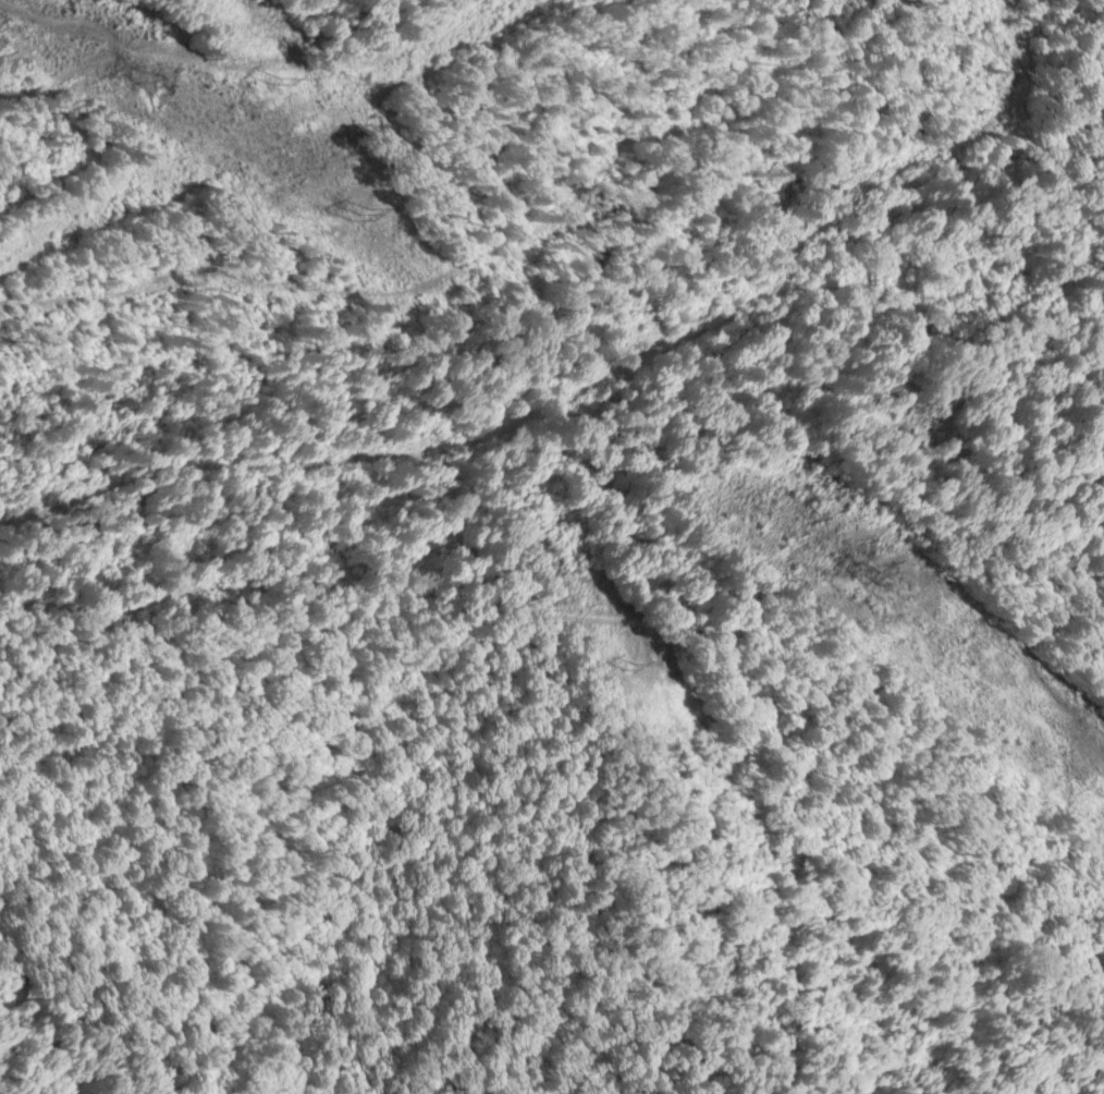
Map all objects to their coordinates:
power tower: (143, 78)
power tower: (348, 80)
power tower: (859, 573)

